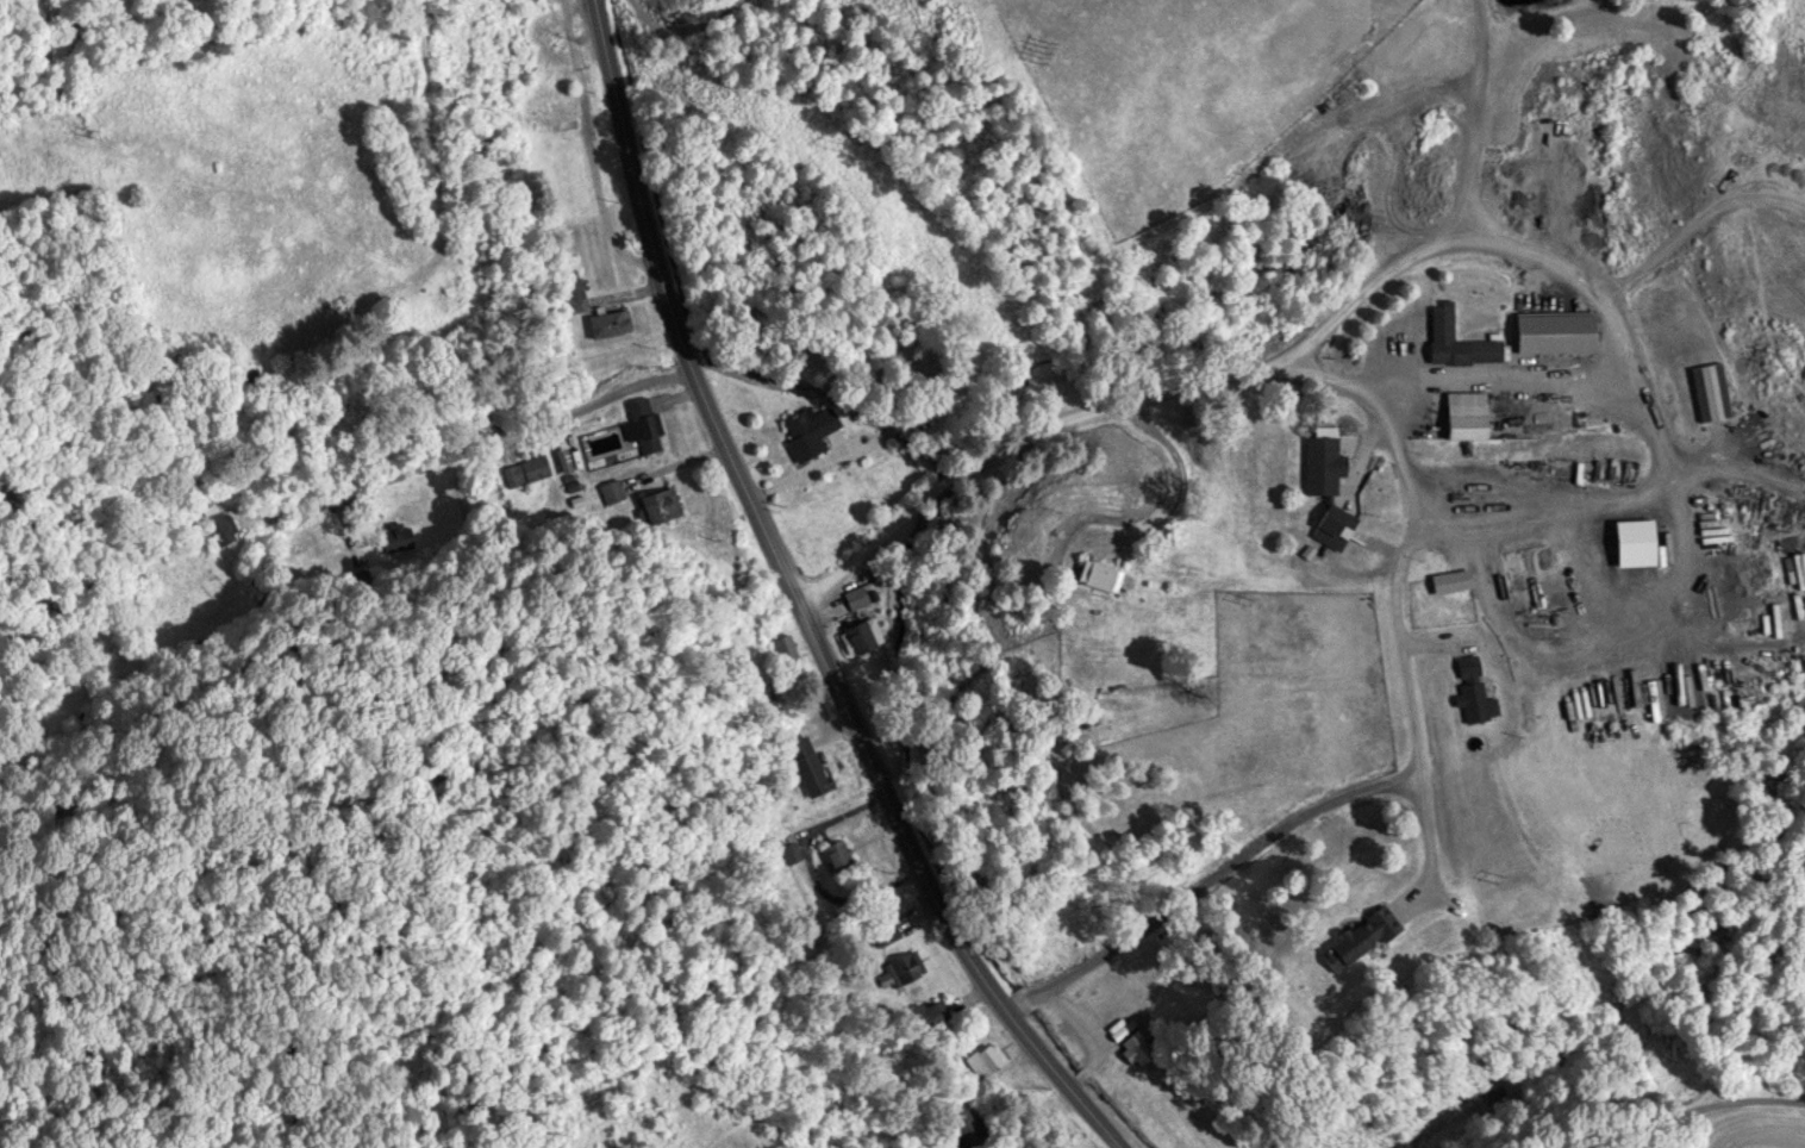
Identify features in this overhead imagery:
building: (556, 124)
building: (1591, 175)
building: (570, 282)
building: (607, 323)
building: (1553, 332)
building: (1455, 339)
building: (1709, 391)
building: (1464, 414)
building: (641, 423)
building: (807, 431)
road: (1072, 439)
road: (477, 444)
building: (562, 460)
building: (1322, 462)
building: (525, 470)
road: (1200, 479)
building: (612, 491)
building: (657, 505)
building: (217, 523)
building: (1332, 526)
building: (395, 538)
building: (1098, 574)
building: (1449, 580)
building: (855, 598)
road: (798, 601)
road: (1400, 623)
building: (861, 634)
building: (782, 647)
building: (1472, 690)
building: (806, 765)
road: (1405, 765)
road: (1413, 791)
building: (788, 849)
building: (836, 854)
road: (1199, 892)
building: (881, 930)
building: (1354, 936)
building: (905, 966)
building: (1105, 1005)
building: (930, 1015)
building: (1133, 1046)
building: (987, 1057)
building: (955, 1117)
road: (1703, 1118)

